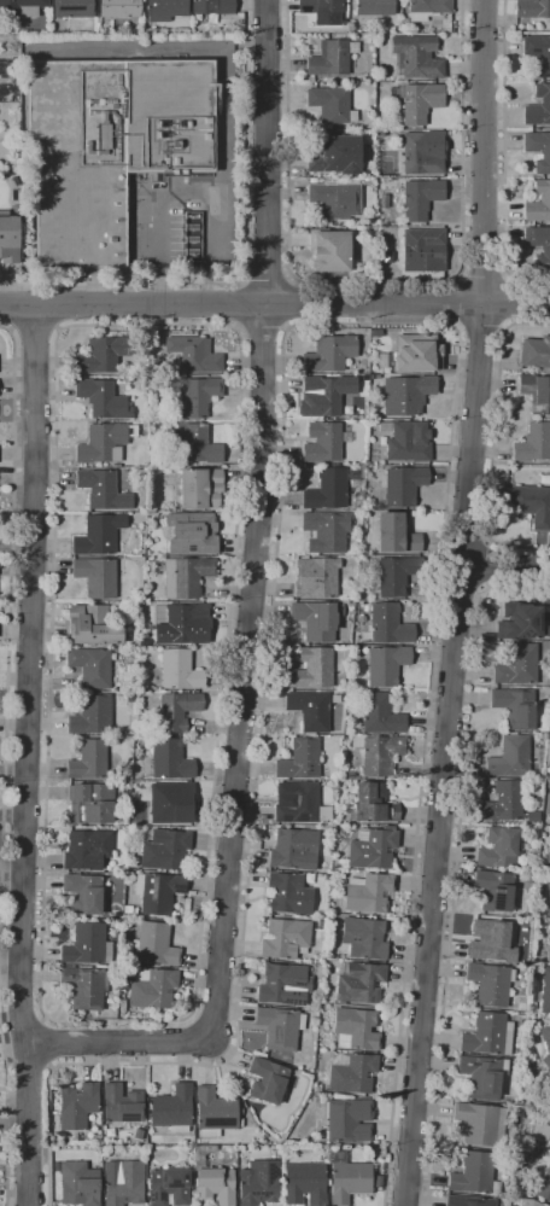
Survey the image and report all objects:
building: (213, 6)
building: (22, 7)
rooftop solar panel: (69, 8)
building: (75, 8)
building: (121, 8)
building: (373, 8)
building: (428, 8)
building: (532, 8)
building: (165, 10)
rooftop solar panel: (302, 11)
building: (323, 11)
building: (538, 53)
building: (416, 57)
building: (332, 58)
building: (417, 101)
building: (332, 104)
building: (539, 106)
building: (110, 145)
building: (538, 150)
building: (422, 153)
building: (335, 156)
road: (505, 157)
road: (183, 190)
building: (527, 192)
building: (421, 198)
building: (335, 200)
building: (384, 202)
building: (539, 204)
building: (10, 238)
building: (538, 244)
building: (420, 245)
building: (329, 251)
road: (245, 261)
building: (410, 272)
road: (484, 274)
road: (268, 280)
road: (374, 280)
road: (507, 299)
road: (458, 302)
road: (240, 304)
road: (293, 304)
road: (275, 305)
road: (12, 307)
road: (54, 308)
road: (222, 326)
road: (481, 327)
road: (287, 328)
road: (262, 330)
road: (34, 331)
building: (157, 351)
building: (329, 353)
building: (417, 353)
building: (536, 353)
building: (104, 354)
building: (194, 354)
building: (525, 369)
building: (537, 392)
building: (324, 395)
building: (406, 395)
building: (199, 396)
building: (103, 398)
rooftop solar panel: (548, 407)
rooftop solar panel: (534, 409)
road: (493, 438)
building: (408, 441)
building: (105, 442)
building: (323, 442)
building: (534, 442)
building: (195, 443)
building: (356, 473)
building: (545, 479)
building: (403, 485)
building: (201, 489)
building: (327, 489)
building: (103, 490)
building: (532, 505)
building: (327, 531)
building: (192, 534)
building: (396, 534)
building: (99, 535)
road: (488, 540)
rooftop solar panel: (188, 553)
road: (481, 564)
road: (504, 566)
building: (397, 575)
building: (98, 576)
building: (187, 576)
building: (315, 578)
road: (480, 588)
road: (457, 602)
road: (248, 613)
building: (318, 619)
building: (520, 619)
rooftop solar panel: (533, 623)
rooftop solar panel: (538, 623)
building: (185, 624)
building: (390, 624)
building: (93, 627)
rooftop solar panel: (528, 634)
road: (10, 639)
building: (386, 664)
building: (517, 665)
building: (90, 666)
building: (314, 669)
building: (177, 671)
building: (515, 706)
building: (351, 709)
building: (310, 710)
building: (177, 711)
building: (380, 715)
building: (92, 716)
building: (544, 727)
building: (544, 735)
building: (379, 753)
building: (510, 756)
road: (27, 757)
building: (170, 759)
building: (299, 759)
building: (89, 761)
building: (347, 775)
building: (124, 794)
building: (297, 802)
building: (504, 802)
building: (92, 803)
building: (171, 803)
building: (371, 804)
rooftop solar panel: (92, 814)
rooftop solar panel: (303, 817)
building: (533, 817)
rooftop solar panel: (288, 818)
building: (533, 833)
building: (373, 847)
building: (498, 847)
building: (165, 849)
building: (294, 849)
building: (87, 850)
road: (456, 862)
building: (542, 868)
building: (129, 874)
building: (529, 879)
rooftop solar panel: (499, 887)
rooftop solar panel: (180, 889)
rooftop solar panel: (153, 890)
building: (496, 890)
building: (158, 892)
building: (368, 892)
building: (83, 893)
building: (289, 893)
rooftop solar panel: (498, 902)
building: (539, 911)
building: (117, 915)
building: (286, 938)
building: (364, 938)
building: (491, 940)
building: (154, 944)
building: (87, 945)
building: (548, 946)
building: (359, 981)
building: (490, 983)
building: (283, 984)
building: (84, 986)
building: (152, 987)
building: (545, 992)
rooftop solar panel: (294, 1002)
road: (22, 1021)
building: (280, 1027)
building: (356, 1029)
building: (488, 1035)
road: (47, 1042)
building: (545, 1042)
road: (27, 1067)
building: (352, 1072)
building: (482, 1076)
building: (267, 1080)
building: (292, 1082)
building: (77, 1105)
building: (122, 1105)
road: (6, 1108)
building: (172, 1108)
building: (215, 1112)
rooftop solar panel: (125, 1119)
building: (349, 1120)
rooftop solar panel: (218, 1121)
building: (240, 1121)
building: (481, 1123)
building: (137, 1134)
building: (276, 1154)
rooftop solar panel: (270, 1171)
building: (475, 1173)
building: (543, 1176)
building: (212, 1178)
building: (347, 1178)
building: (123, 1182)
building: (259, 1183)
building: (305, 1183)
building: (78, 1184)
building: (169, 1187)
rooftop solar panel: (262, 1194)
building: (468, 1201)
building: (528, 1202)

